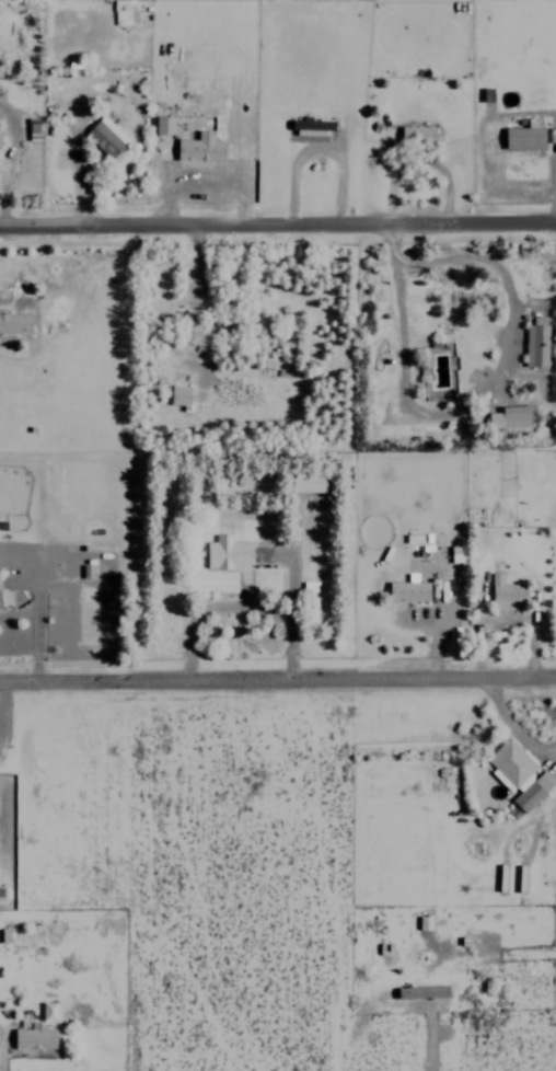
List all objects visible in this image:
building: (164, 125)
building: (313, 127)
building: (33, 128)
building: (417, 136)
building: (524, 136)
building: (105, 137)
building: (199, 150)
road: (278, 223)
building: (15, 323)
building: (189, 329)
building: (535, 343)
building: (179, 394)
building: (511, 417)
building: (309, 483)
building: (228, 553)
building: (262, 554)
building: (408, 591)
building: (506, 595)
building: (0, 607)
road: (278, 676)
building: (510, 761)
building: (533, 791)
building: (424, 921)
building: (421, 991)
building: (33, 1037)

